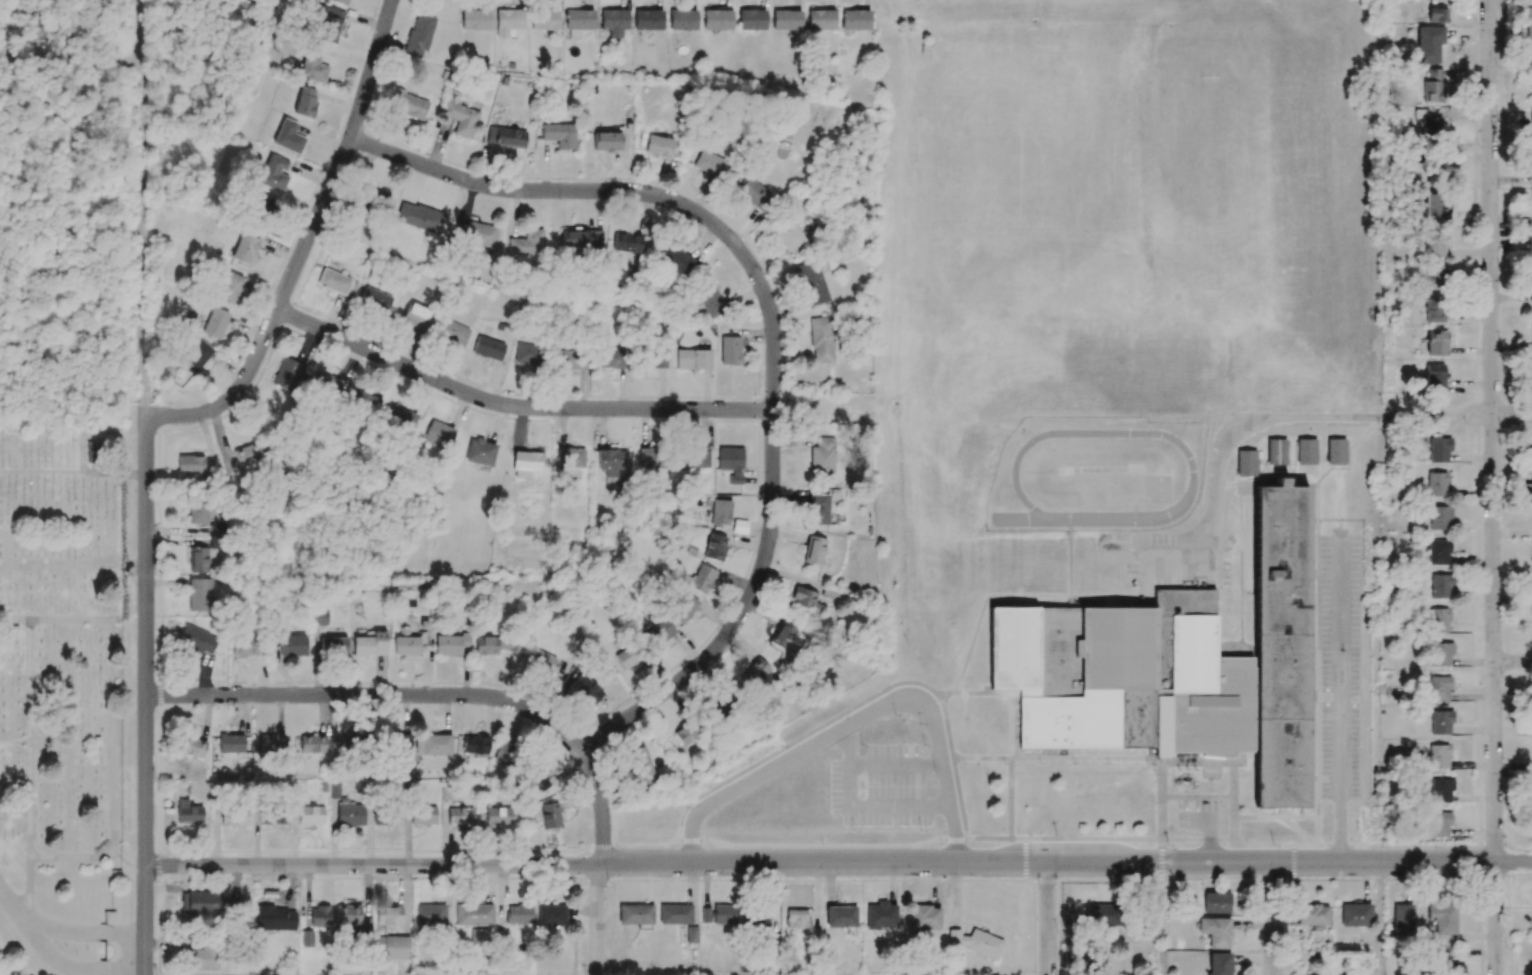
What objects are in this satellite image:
building: (338, 1)
building: (7, 15)
building: (1437, 15)
building: (717, 18)
building: (475, 19)
building: (545, 19)
building: (648, 19)
building: (683, 19)
building: (752, 19)
building: (786, 19)
building: (821, 20)
building: (855, 20)
building: (578, 21)
building: (509, 22)
building: (614, 22)
building: (328, 24)
building: (1528, 26)
building: (419, 34)
building: (1429, 44)
road: (82, 58)
building: (313, 64)
building: (1529, 79)
building: (1432, 86)
building: (306, 101)
building: (409, 105)
building: (1526, 116)
building: (461, 118)
building: (1433, 127)
building: (559, 135)
building: (288, 136)
building: (505, 137)
building: (606, 141)
building: (658, 146)
road: (342, 158)
building: (708, 163)
building: (1434, 167)
building: (274, 173)
building: (1531, 179)
road: (634, 192)
building: (754, 194)
building: (1531, 196)
building: (264, 206)
building: (1435, 206)
building: (418, 217)
road: (141, 220)
building: (477, 234)
building: (788, 235)
building: (581, 241)
building: (626, 242)
building: (526, 243)
building: (1433, 246)
building: (245, 248)
building: (1529, 250)
building: (675, 259)
building: (1434, 277)
building: (333, 281)
building: (812, 283)
building: (230, 286)
building: (1531, 286)
building: (375, 299)
building: (710, 300)
building: (1433, 310)
building: (416, 316)
building: (215, 322)
building: (453, 333)
building: (821, 340)
building: (1436, 343)
building: (489, 348)
building: (730, 350)
building: (528, 354)
building: (195, 355)
building: (611, 358)
building: (574, 359)
building: (656, 359)
building: (693, 359)
building: (285, 373)
building: (1434, 375)
road: (225, 379)
building: (327, 384)
building: (364, 402)
road: (514, 407)
road: (1512, 414)
road: (1266, 417)
building: (402, 418)
building: (439, 435)
building: (1531, 444)
building: (1438, 450)
building: (1276, 451)
building: (1306, 451)
building: (1336, 451)
building: (93, 452)
building: (480, 452)
building: (247, 454)
building: (822, 456)
building: (571, 457)
building: (652, 458)
building: (692, 458)
building: (611, 461)
building: (1246, 462)
building: (527, 463)
building: (731, 463)
building: (190, 464)
building: (1435, 484)
road: (1492, 487)
building: (1530, 491)
building: (818, 509)
building: (198, 511)
building: (720, 512)
building: (1438, 517)
building: (715, 547)
building: (814, 550)
building: (1437, 552)
building: (198, 559)
building: (702, 579)
building: (1439, 586)
building: (200, 594)
building: (806, 600)
building: (683, 607)
building: (319, 617)
road: (738, 617)
building: (1436, 620)
building: (642, 623)
building: (662, 630)
building: (782, 635)
road: (145, 639)
building: (197, 639)
building: (371, 644)
building: (406, 644)
building: (450, 644)
building: (293, 645)
building: (496, 645)
building: (245, 646)
building: (334, 646)
building: (1441, 654)
building: (629, 655)
building: (539, 659)
building: (1250, 659)
road: (1513, 662)
building: (1071, 669)
building: (756, 672)
road: (112, 682)
building: (584, 686)
building: (1161, 688)
building: (1438, 688)
road: (371, 696)
park: (60, 699)
road: (1341, 702)
building: (724, 704)
road: (855, 718)
building: (1440, 722)
building: (1161, 726)
building: (688, 732)
road: (29, 738)
building: (403, 740)
building: (231, 743)
building: (271, 743)
building: (348, 743)
building: (309, 744)
building: (433, 744)
building: (475, 745)
building: (192, 747)
building: (504, 754)
building: (1437, 756)
road: (892, 764)
building: (644, 766)
building: (537, 782)
building: (333, 790)
building: (1440, 790)
road: (859, 806)
building: (188, 812)
building: (272, 814)
building: (350, 814)
building: (423, 814)
building: (311, 815)
building: (550, 815)
building: (234, 816)
building: (460, 816)
building: (498, 816)
building: (386, 817)
building: (1438, 824)
road: (1206, 834)
road: (75, 857)
road: (601, 861)
road: (838, 863)
road: (29, 890)
road: (14, 901)
building: (204, 902)
building: (1216, 902)
building: (519, 913)
building: (347, 914)
building: (474, 914)
building: (635, 914)
building: (675, 914)
building: (724, 914)
building: (430, 915)
building: (551, 915)
building: (706, 915)
building: (881, 915)
building: (1105, 915)
building: (1312, 915)
building: (1355, 915)
building: (320, 916)
building: (388, 916)
building: (841, 916)
building: (1442, 916)
building: (275, 918)
building: (796, 918)
building: (925, 918)
road: (1048, 918)
road: (1271, 919)
building: (1402, 919)
road: (146, 921)
road: (87, 930)
building: (1216, 931)
building: (691, 934)
building: (479, 936)
building: (307, 938)
building: (976, 943)
building: (392, 947)
building: (204, 957)
building: (1094, 963)
building: (1219, 964)
building: (1452, 968)
road: (75, 969)

